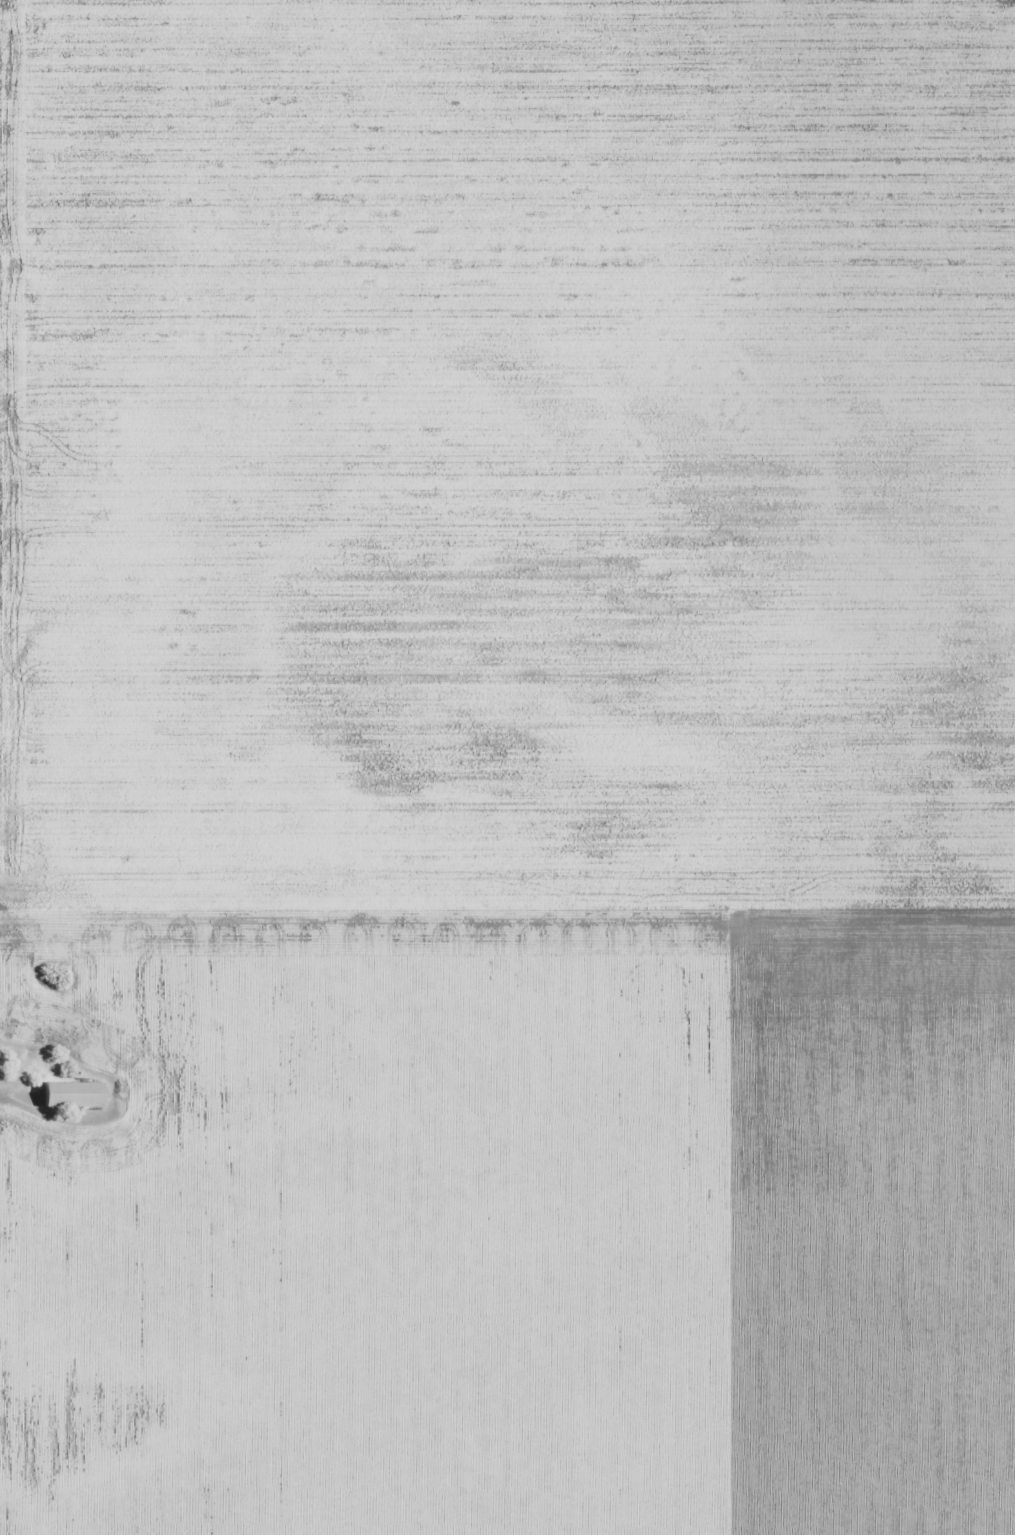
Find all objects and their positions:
crop: (509, 765)
building: (74, 1094)

